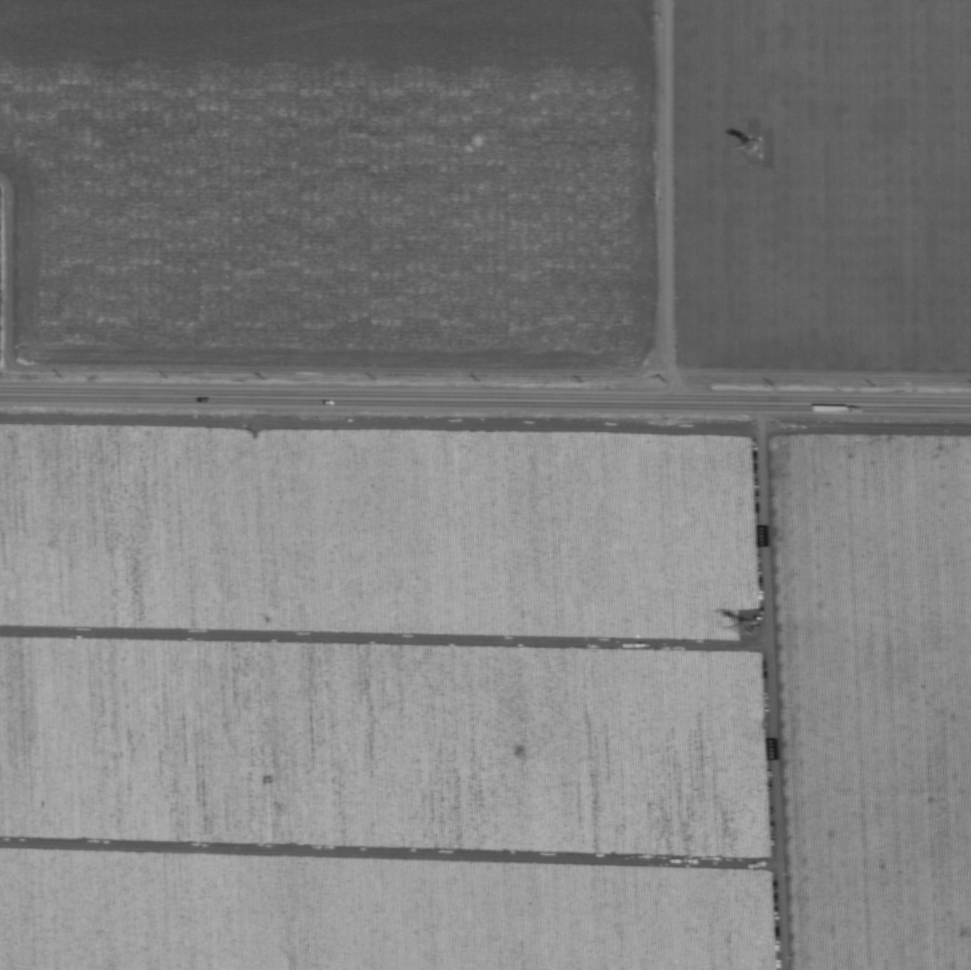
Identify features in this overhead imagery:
power tower: (756, 147)
road: (485, 399)
crop: (485, 485)
power tower: (748, 628)

